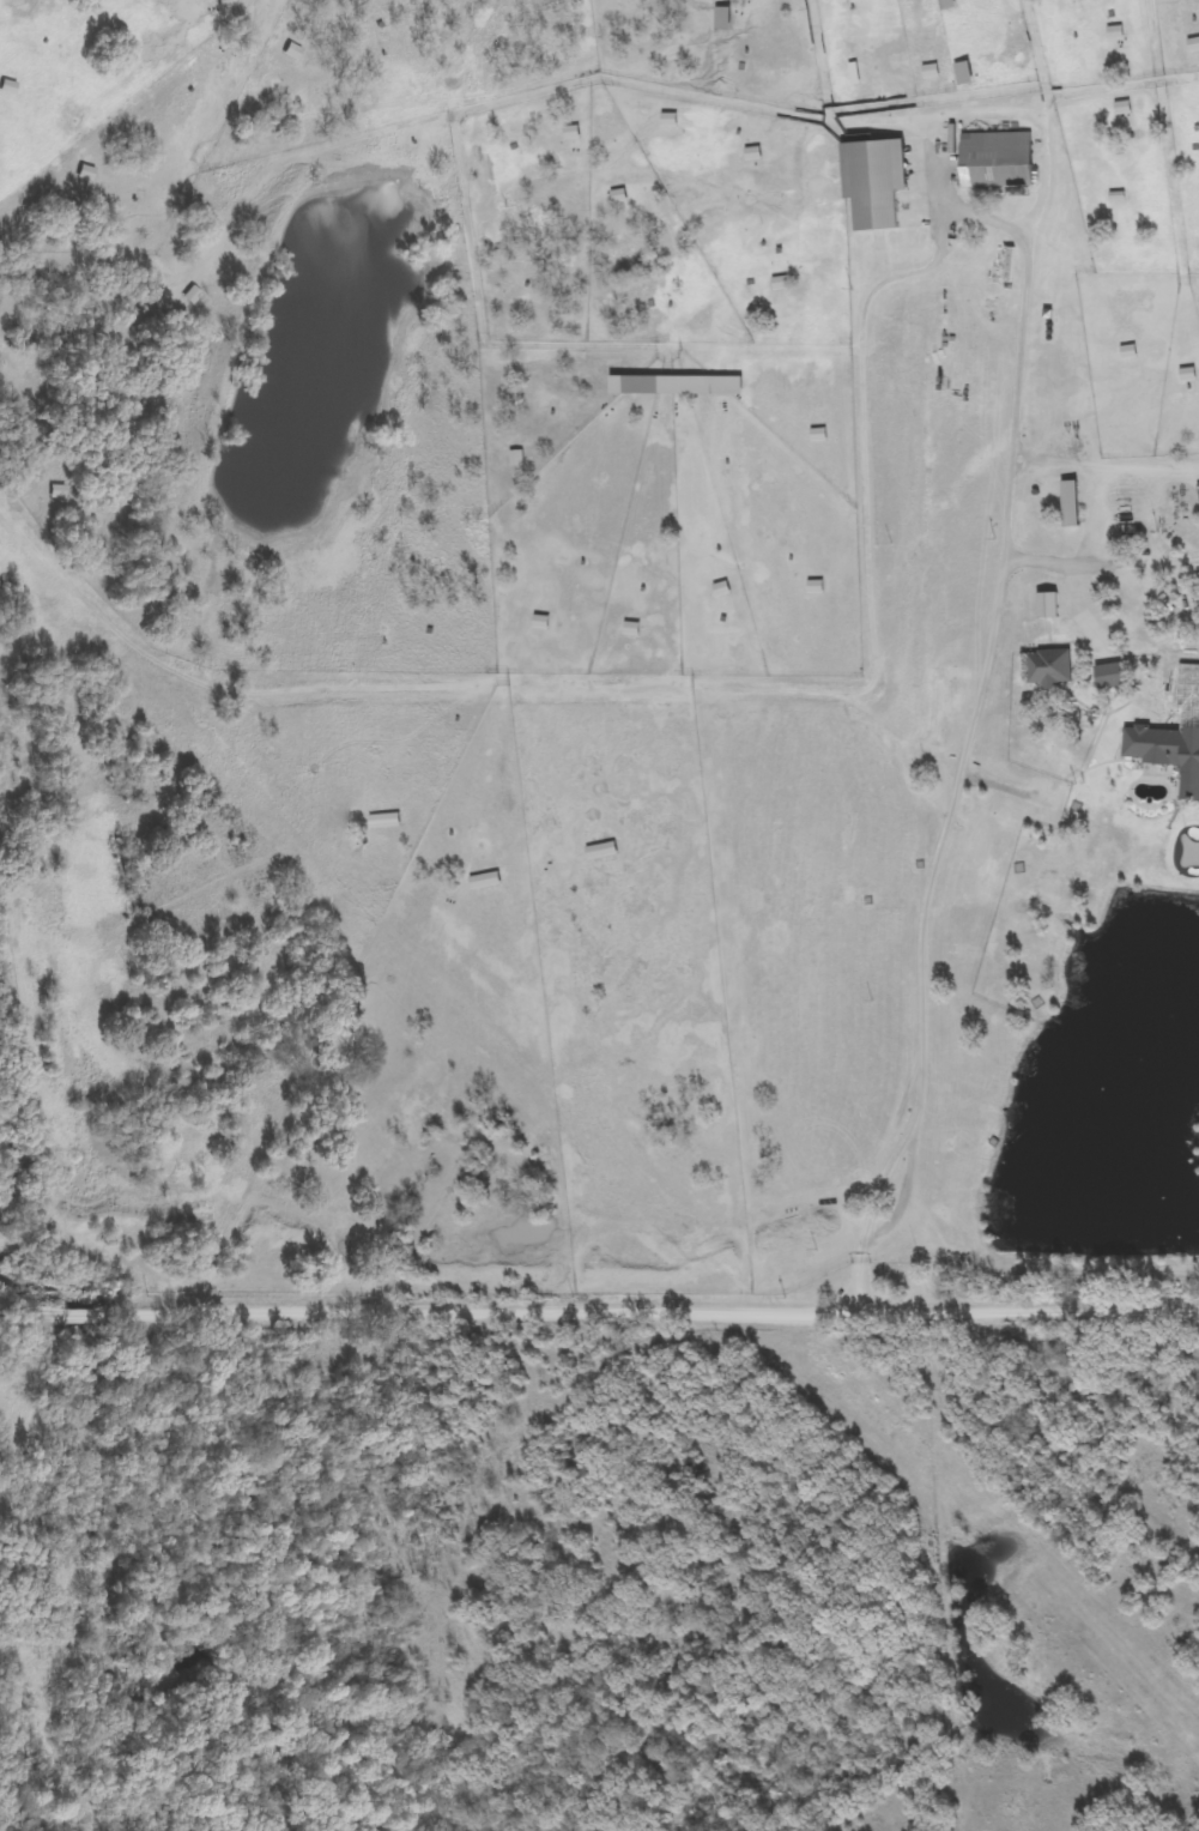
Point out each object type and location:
building: (943, 4)
building: (720, 17)
building: (292, 50)
building: (8, 87)
road: (785, 114)
road: (844, 138)
building: (991, 159)
building: (86, 173)
building: (870, 181)
road: (1103, 466)
building: (1065, 503)
road: (1084, 554)
building: (1043, 667)
building: (1104, 676)
road: (692, 689)
building: (1149, 745)
road: (959, 757)
road: (599, 1344)

